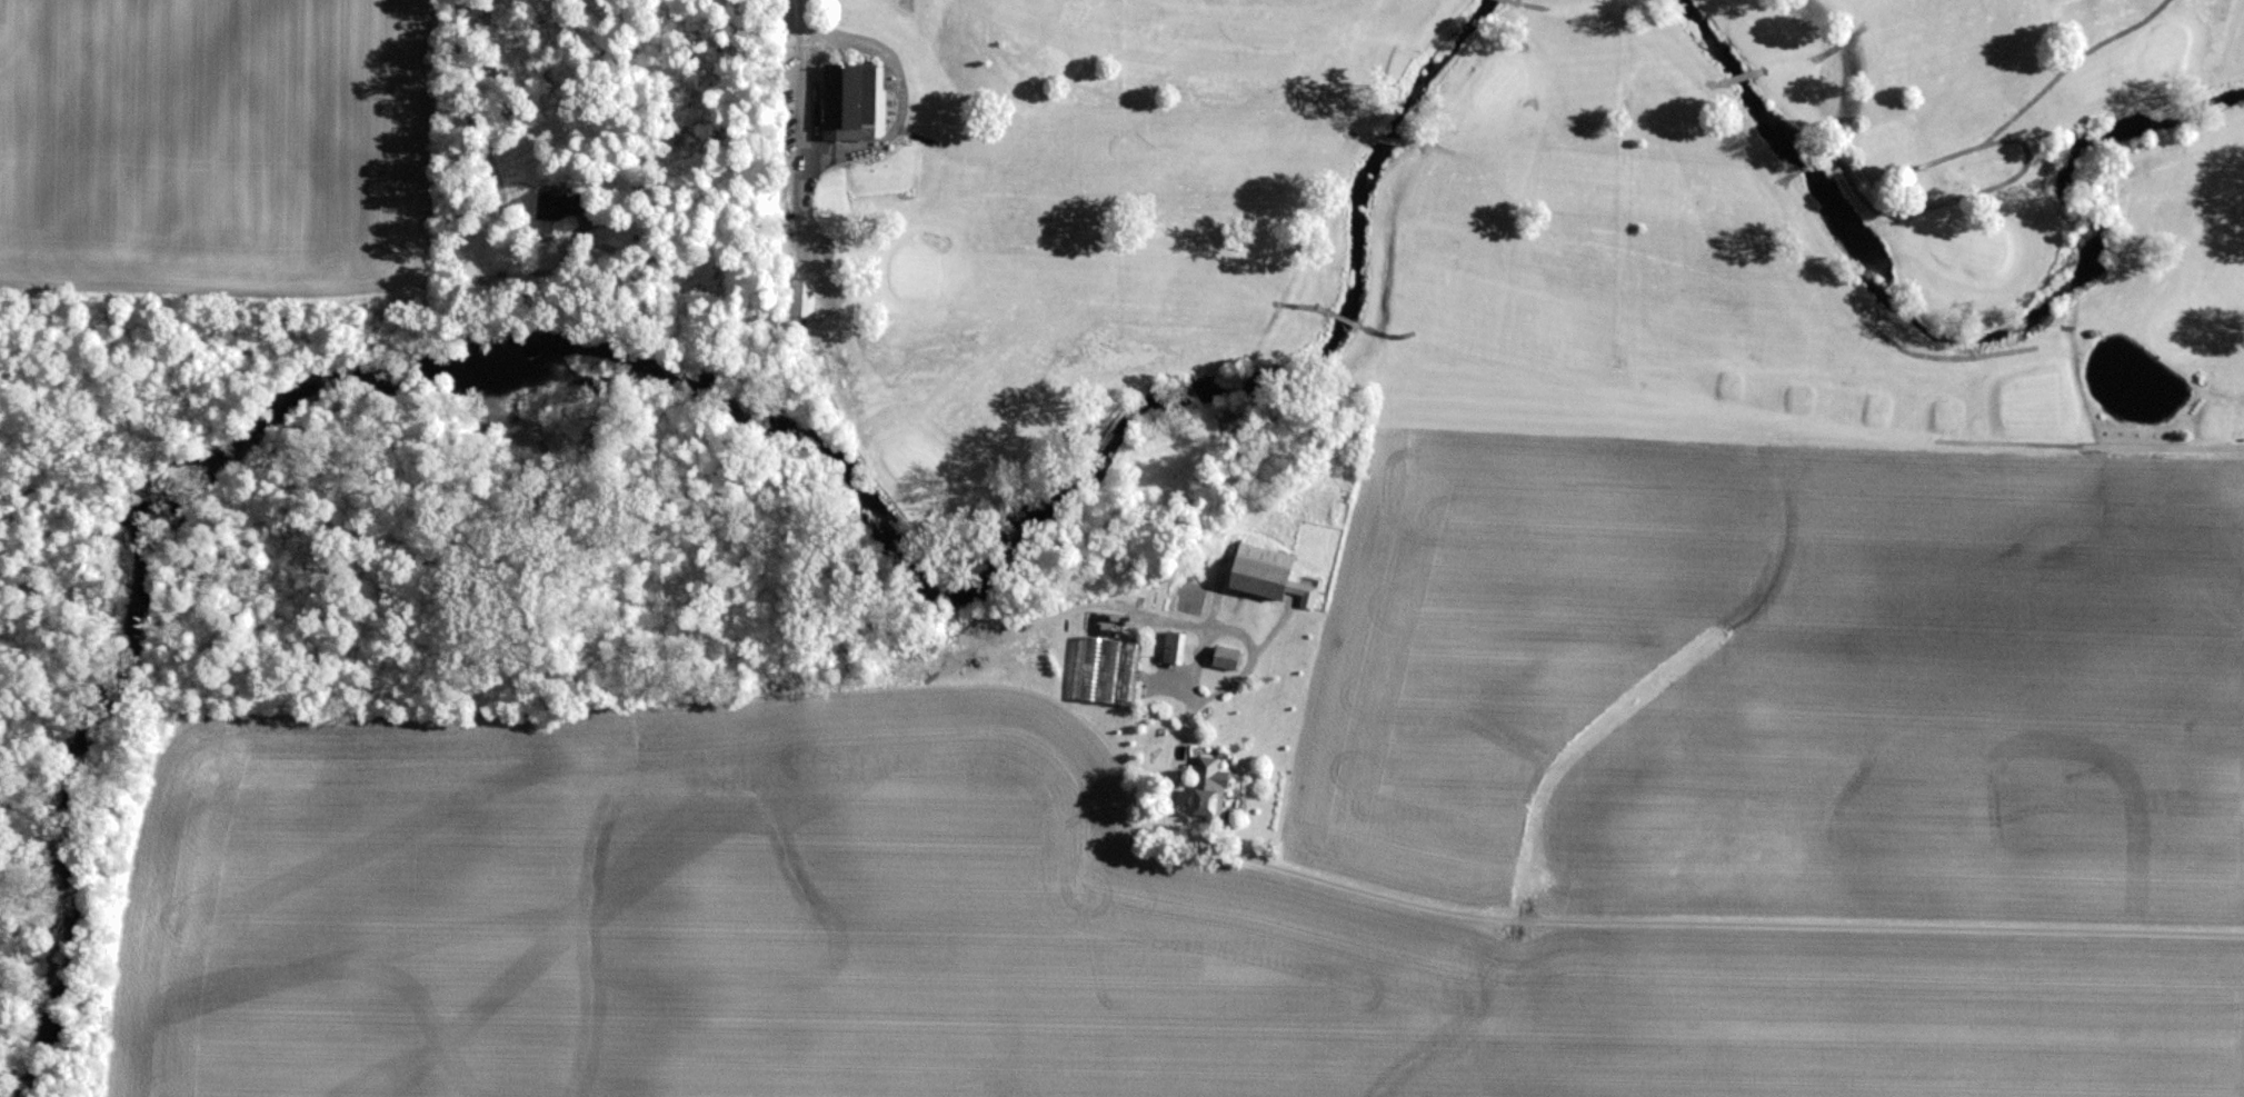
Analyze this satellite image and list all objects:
road: (798, 206)
river: (1963, 333)
river: (692, 385)
road: (1239, 622)
road: (1634, 908)
road: (8, 968)

